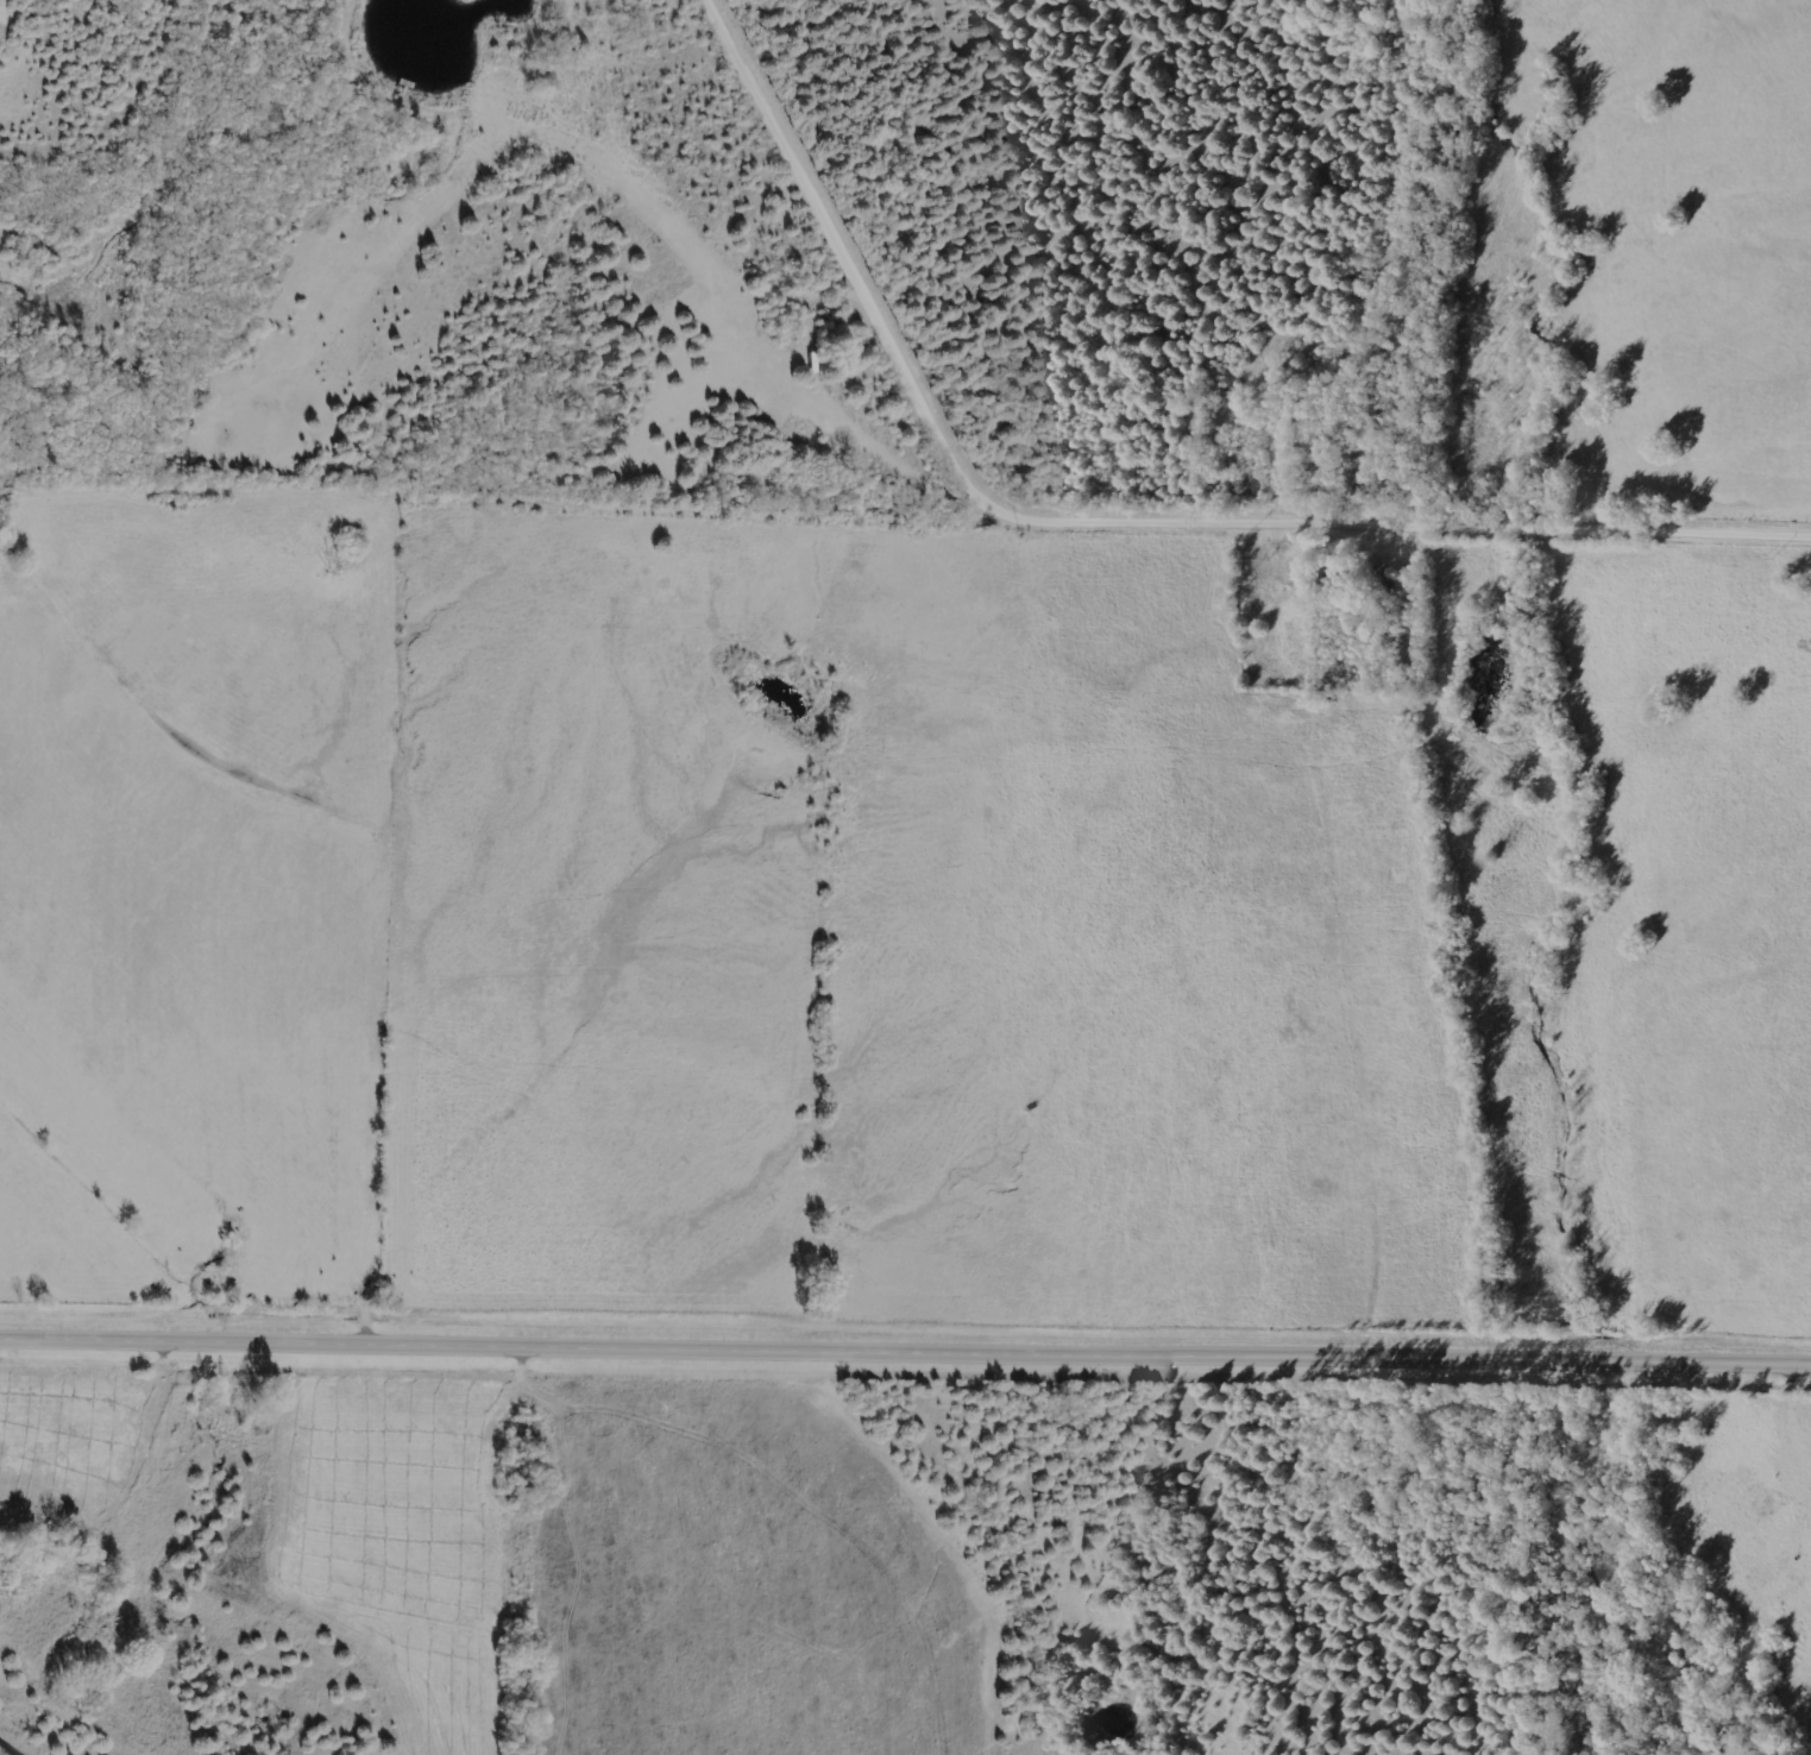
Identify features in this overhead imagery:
road: (1117, 499)
road: (905, 1347)

